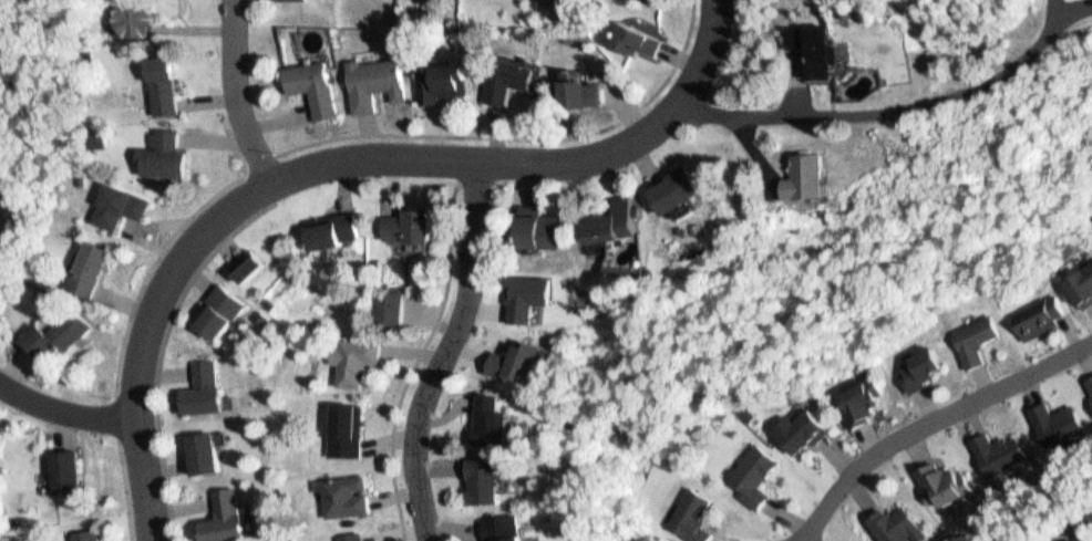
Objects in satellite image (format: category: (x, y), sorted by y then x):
building: (141, 33)
building: (629, 33)
building: (807, 42)
building: (824, 48)
building: (501, 72)
building: (368, 76)
building: (435, 77)
building: (309, 82)
building: (171, 86)
building: (575, 90)
road: (236, 93)
building: (163, 100)
road: (333, 164)
building: (163, 167)
building: (797, 173)
building: (820, 178)
building: (673, 205)
building: (116, 215)
building: (620, 221)
building: (338, 230)
building: (610, 238)
building: (404, 239)
building: (533, 239)
building: (323, 245)
building: (2, 248)
building: (243, 259)
building: (253, 264)
building: (1079, 278)
building: (90, 279)
building: (381, 302)
building: (215, 304)
building: (1034, 305)
building: (257, 311)
building: (970, 331)
building: (55, 345)
road: (449, 352)
building: (349, 354)
building: (914, 360)
building: (513, 371)
building: (1089, 376)
building: (197, 381)
building: (853, 393)
building: (1091, 394)
road: (63, 410)
building: (1053, 414)
road: (930, 420)
building: (792, 422)
building: (340, 424)
building: (487, 433)
building: (997, 444)
building: (199, 446)
building: (65, 462)
building: (749, 464)
building: (942, 478)
building: (340, 489)
building: (483, 492)
building: (217, 511)
building: (687, 511)
building: (1088, 511)
building: (894, 519)
building: (1088, 519)
building: (84, 532)
building: (342, 533)
building: (496, 534)

